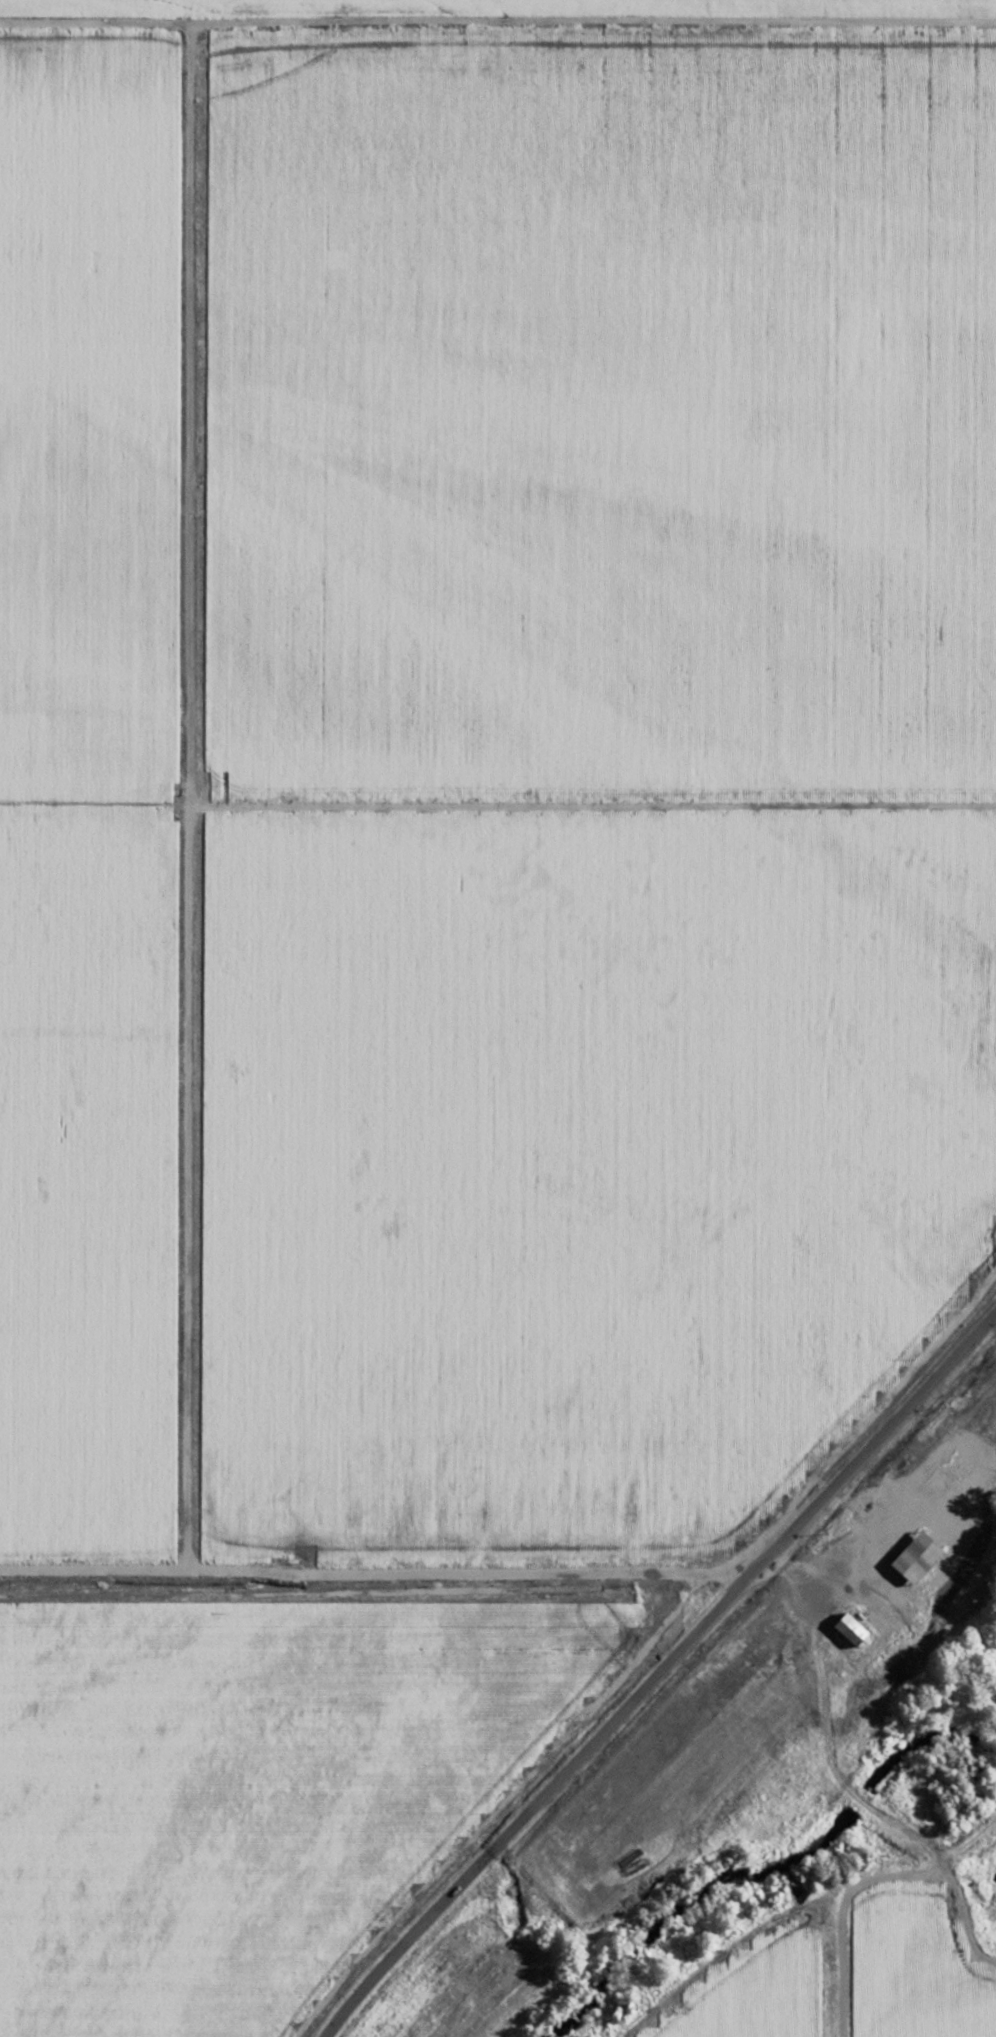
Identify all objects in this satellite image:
road: (497, 22)
road: (663, 1581)
building: (846, 1631)
road: (658, 1674)

